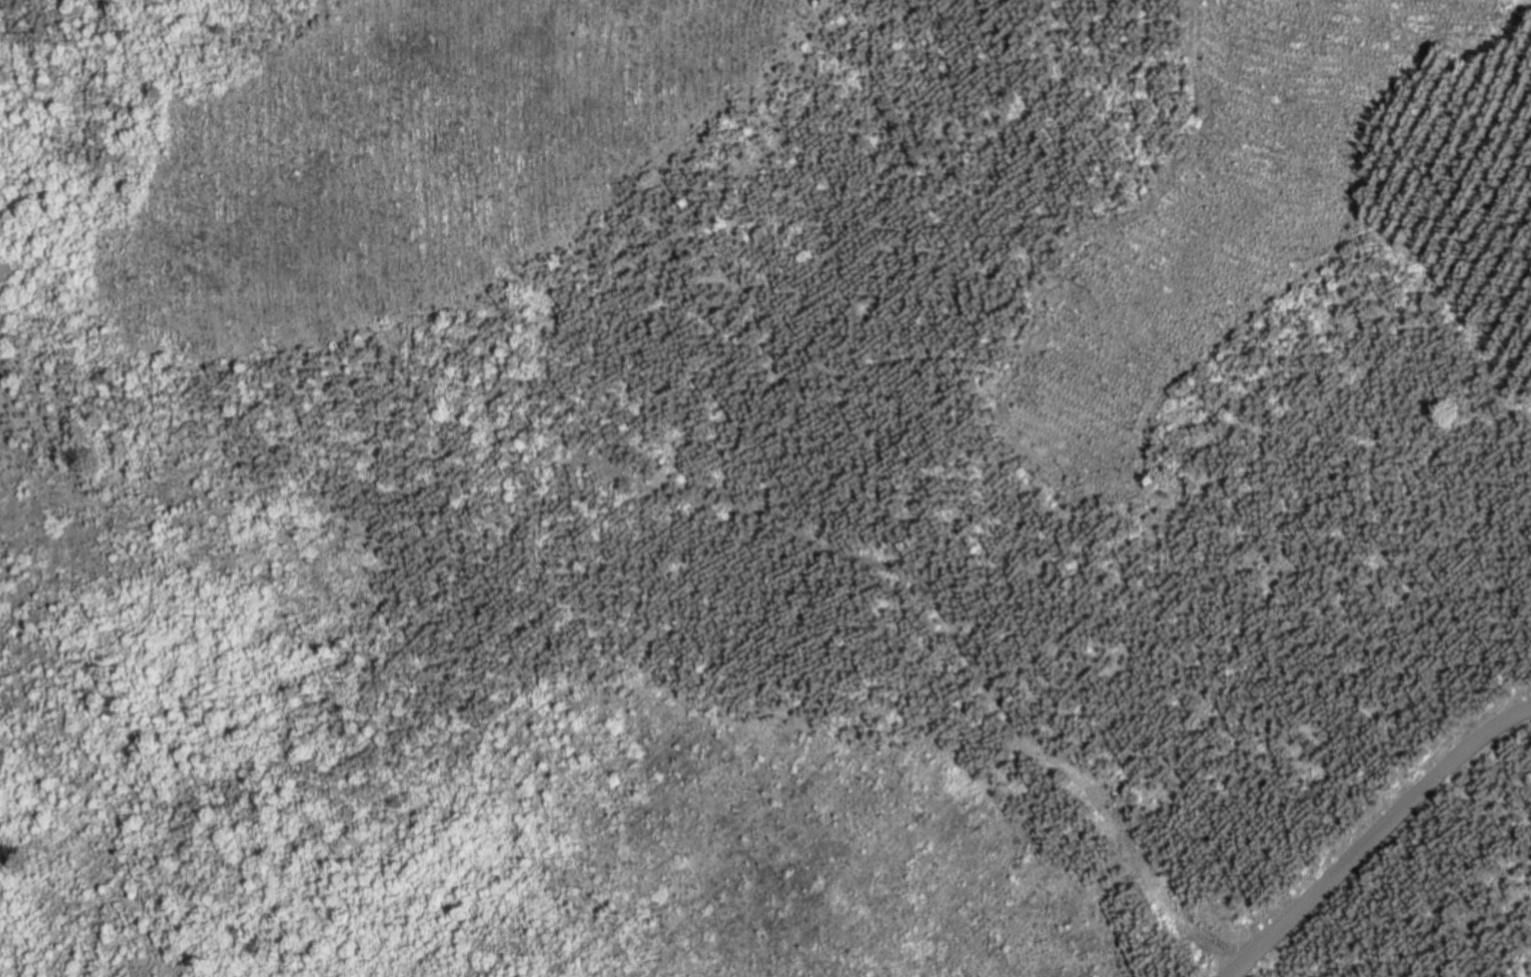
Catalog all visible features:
road: (1378, 837)

